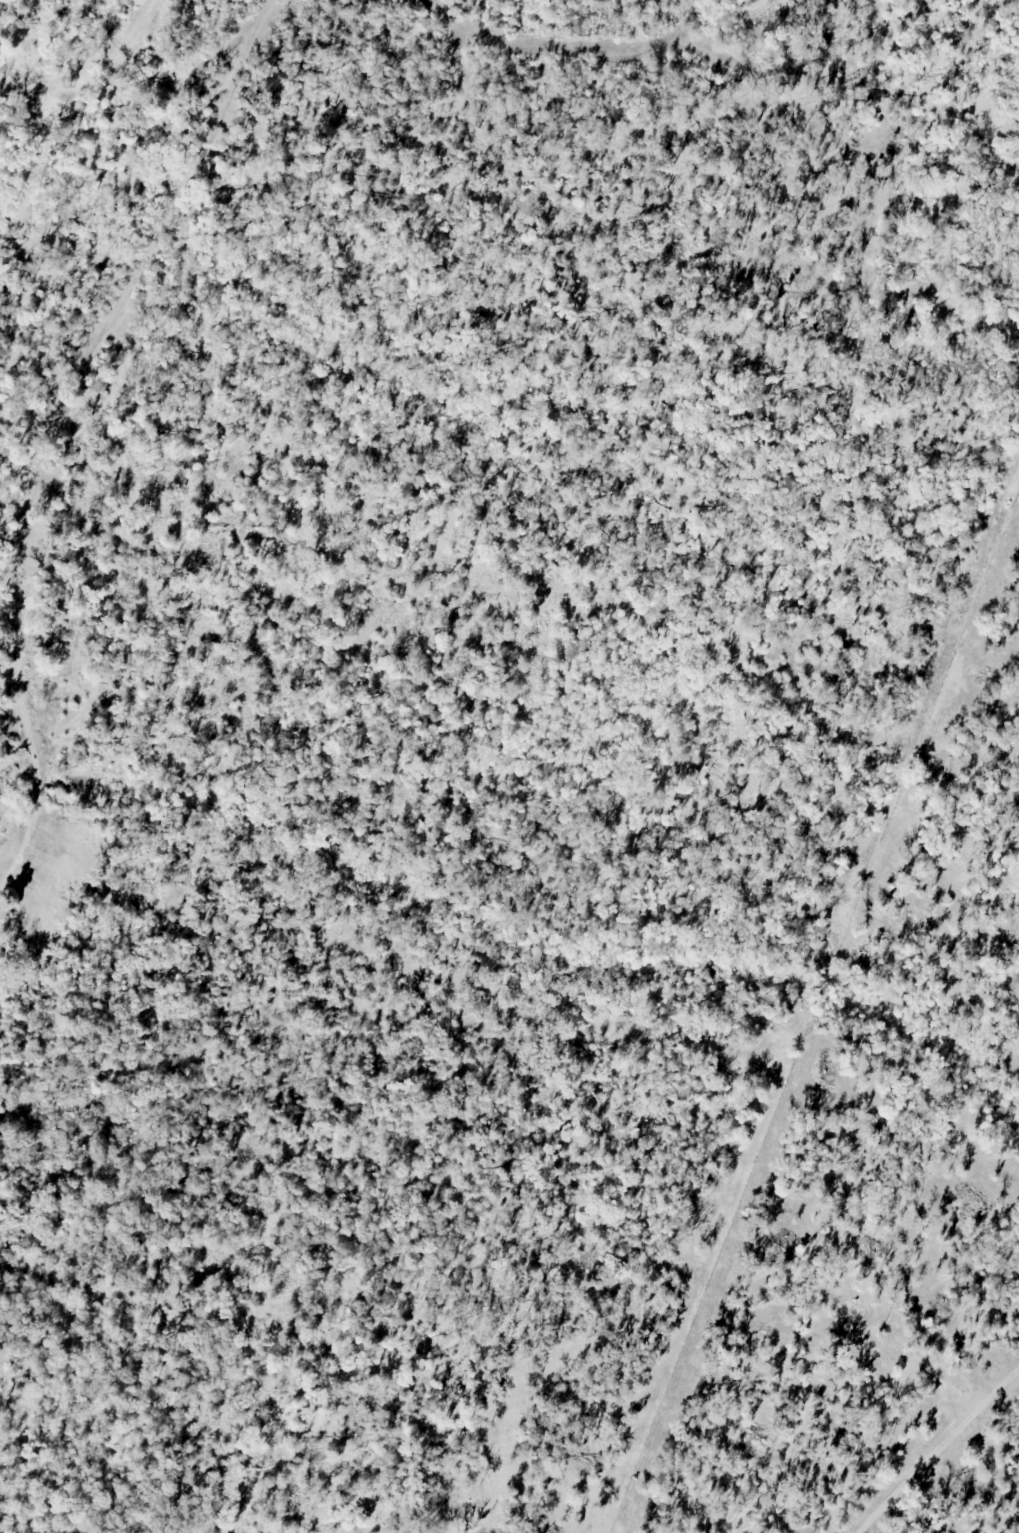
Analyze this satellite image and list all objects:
road: (948, 1461)

